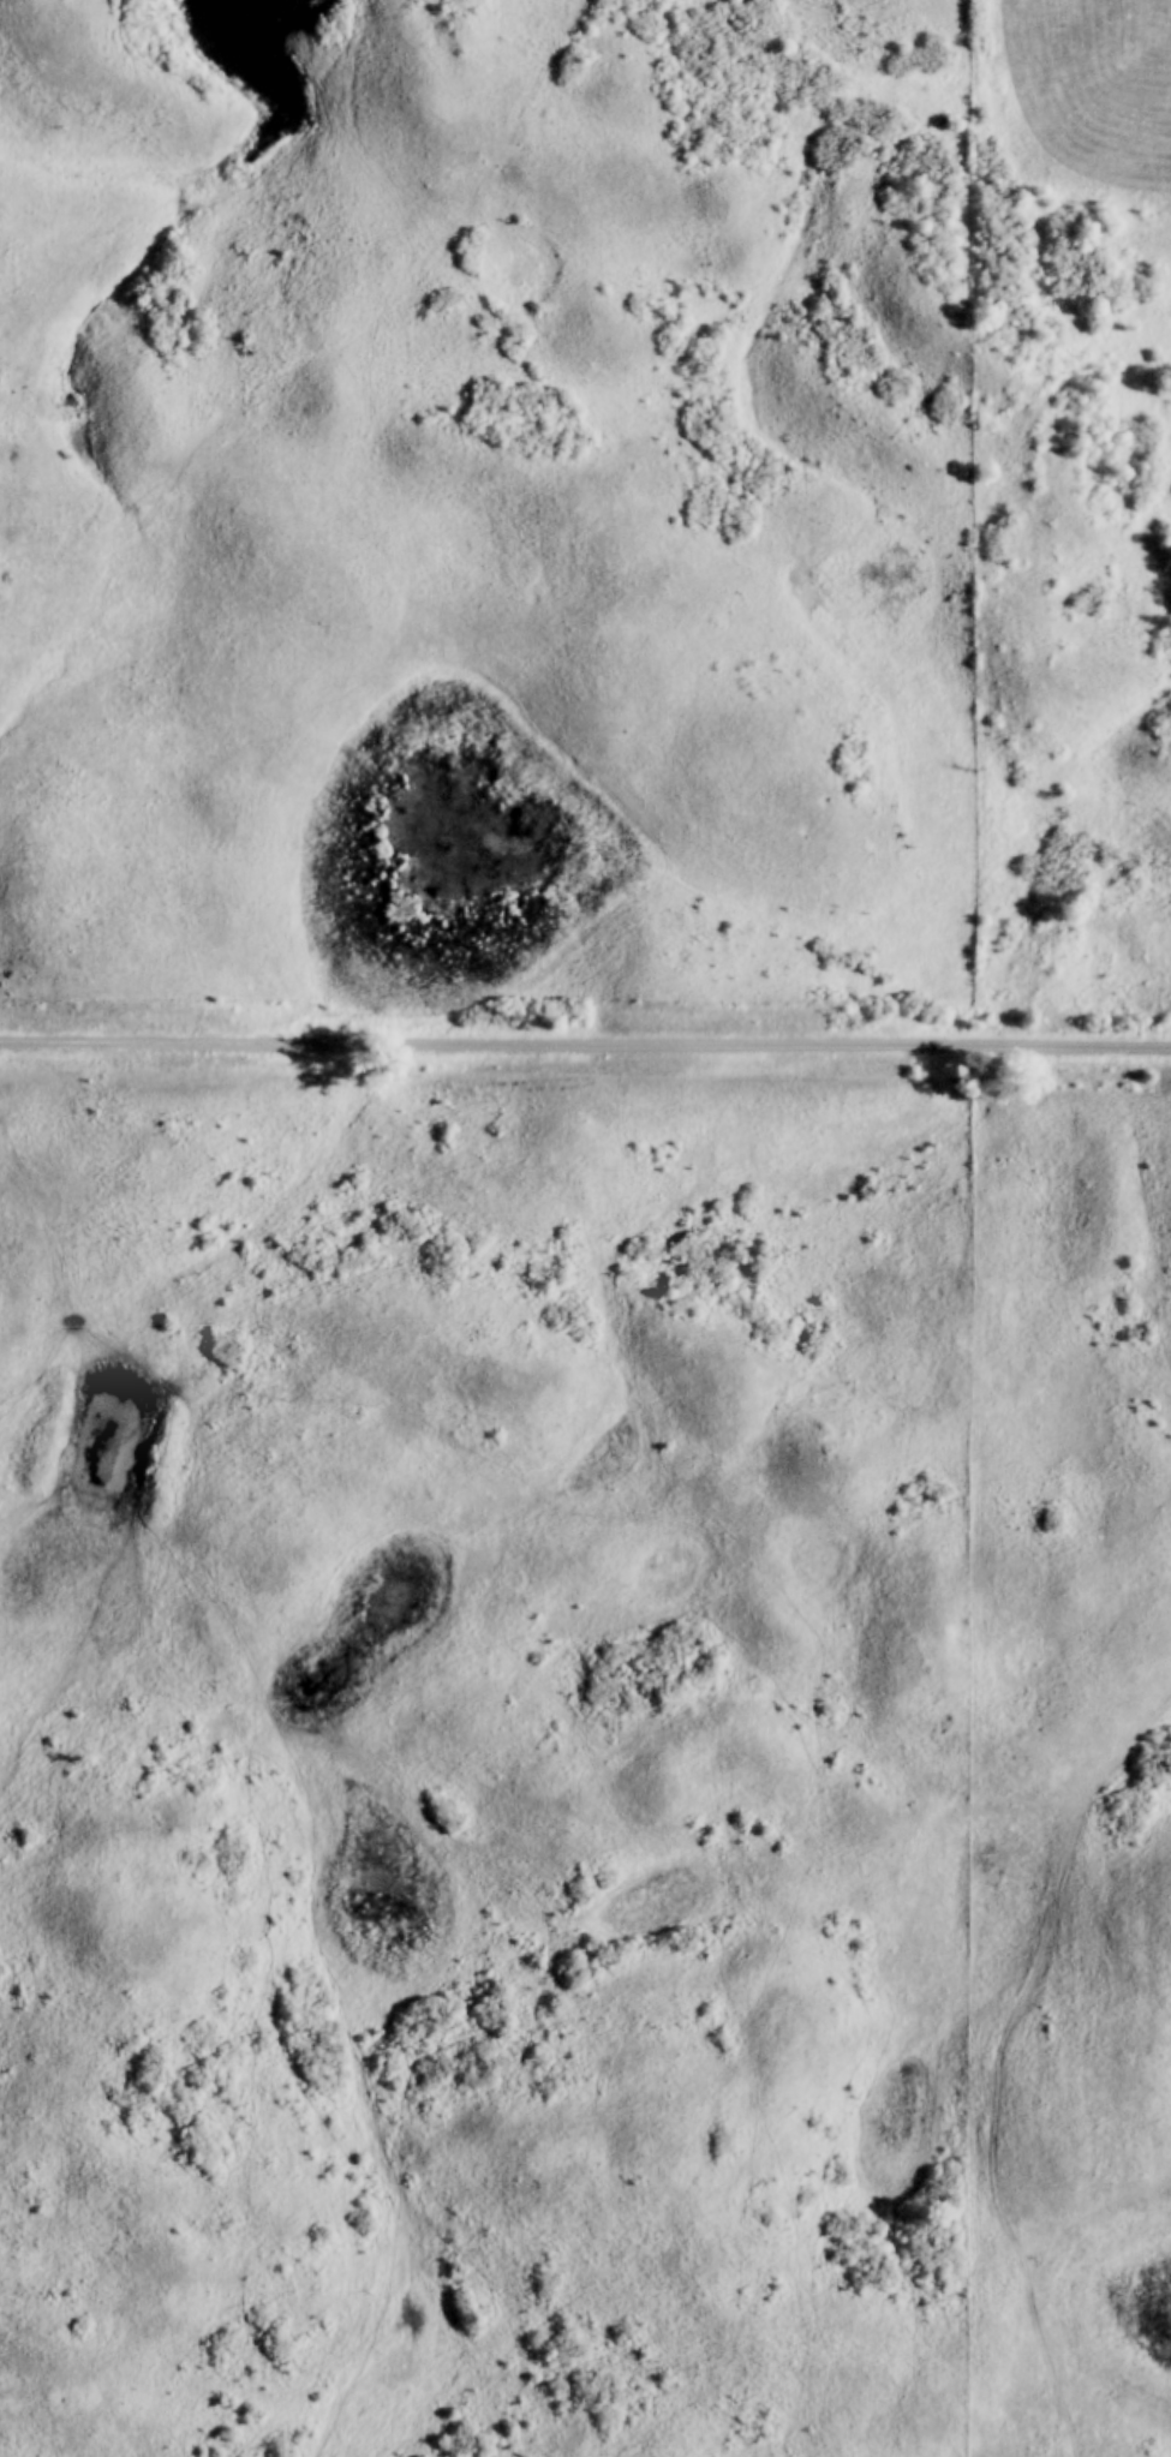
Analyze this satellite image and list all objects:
road: (585, 1044)

